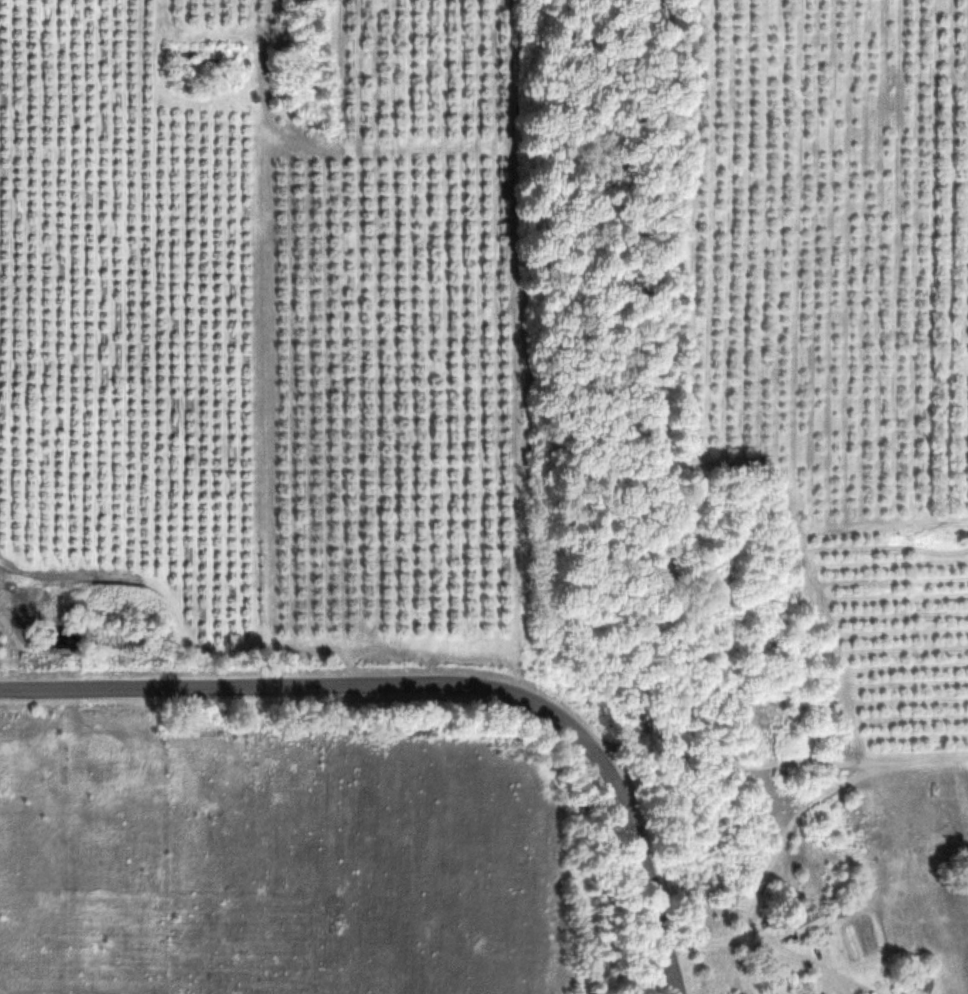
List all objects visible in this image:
road: (436, 682)
building: (810, 922)
road: (764, 947)

